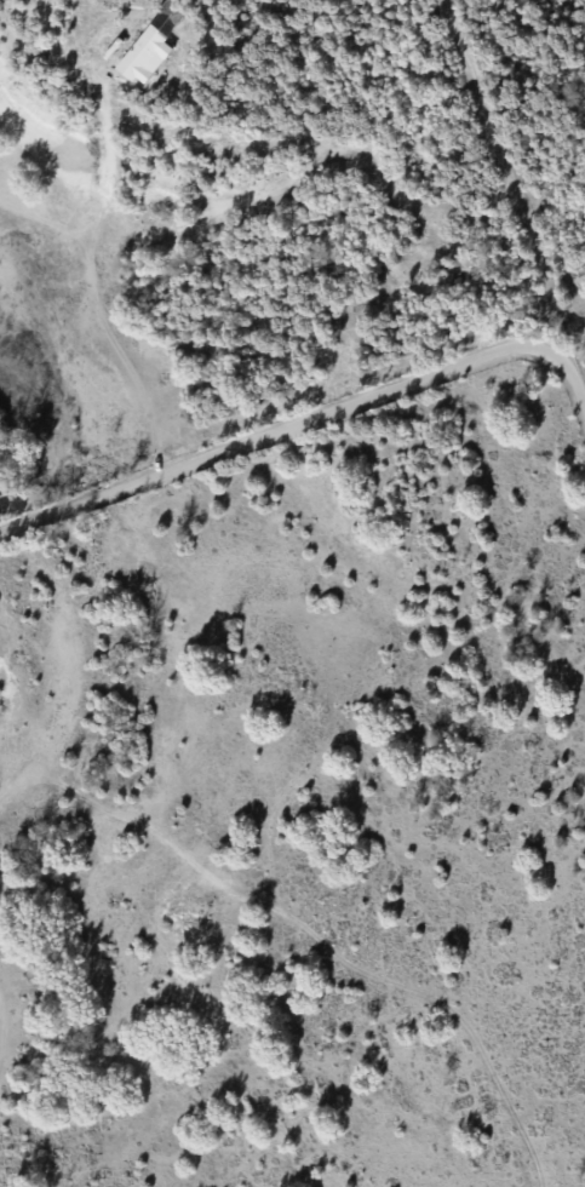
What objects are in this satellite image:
building: (145, 56)
road: (305, 417)

